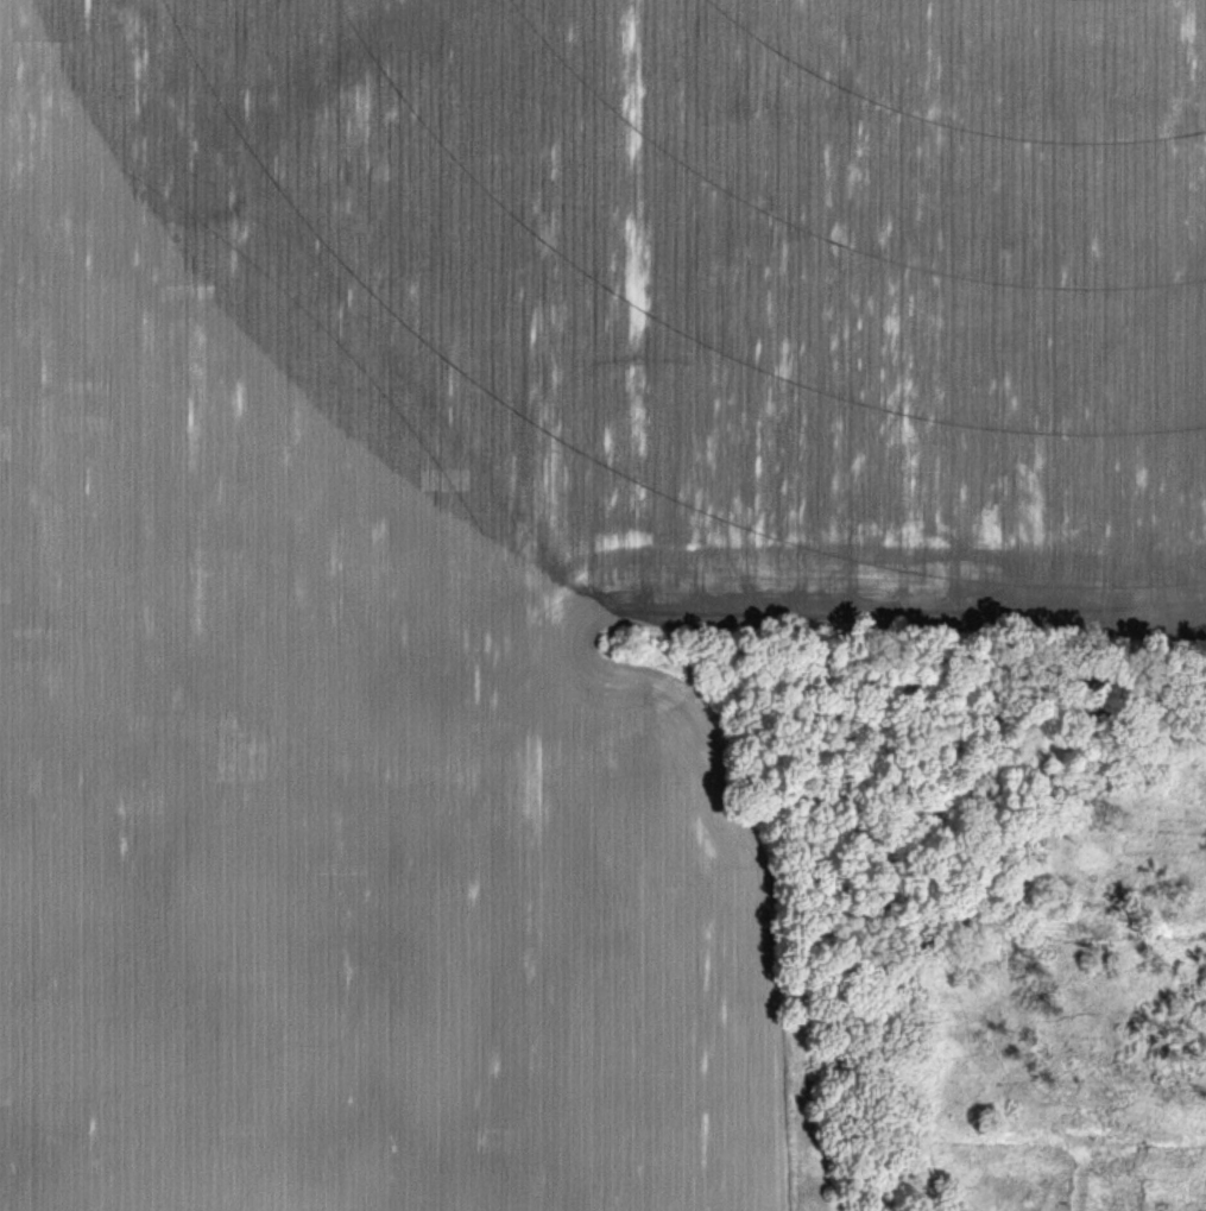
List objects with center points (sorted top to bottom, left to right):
crop: (519, 537)

